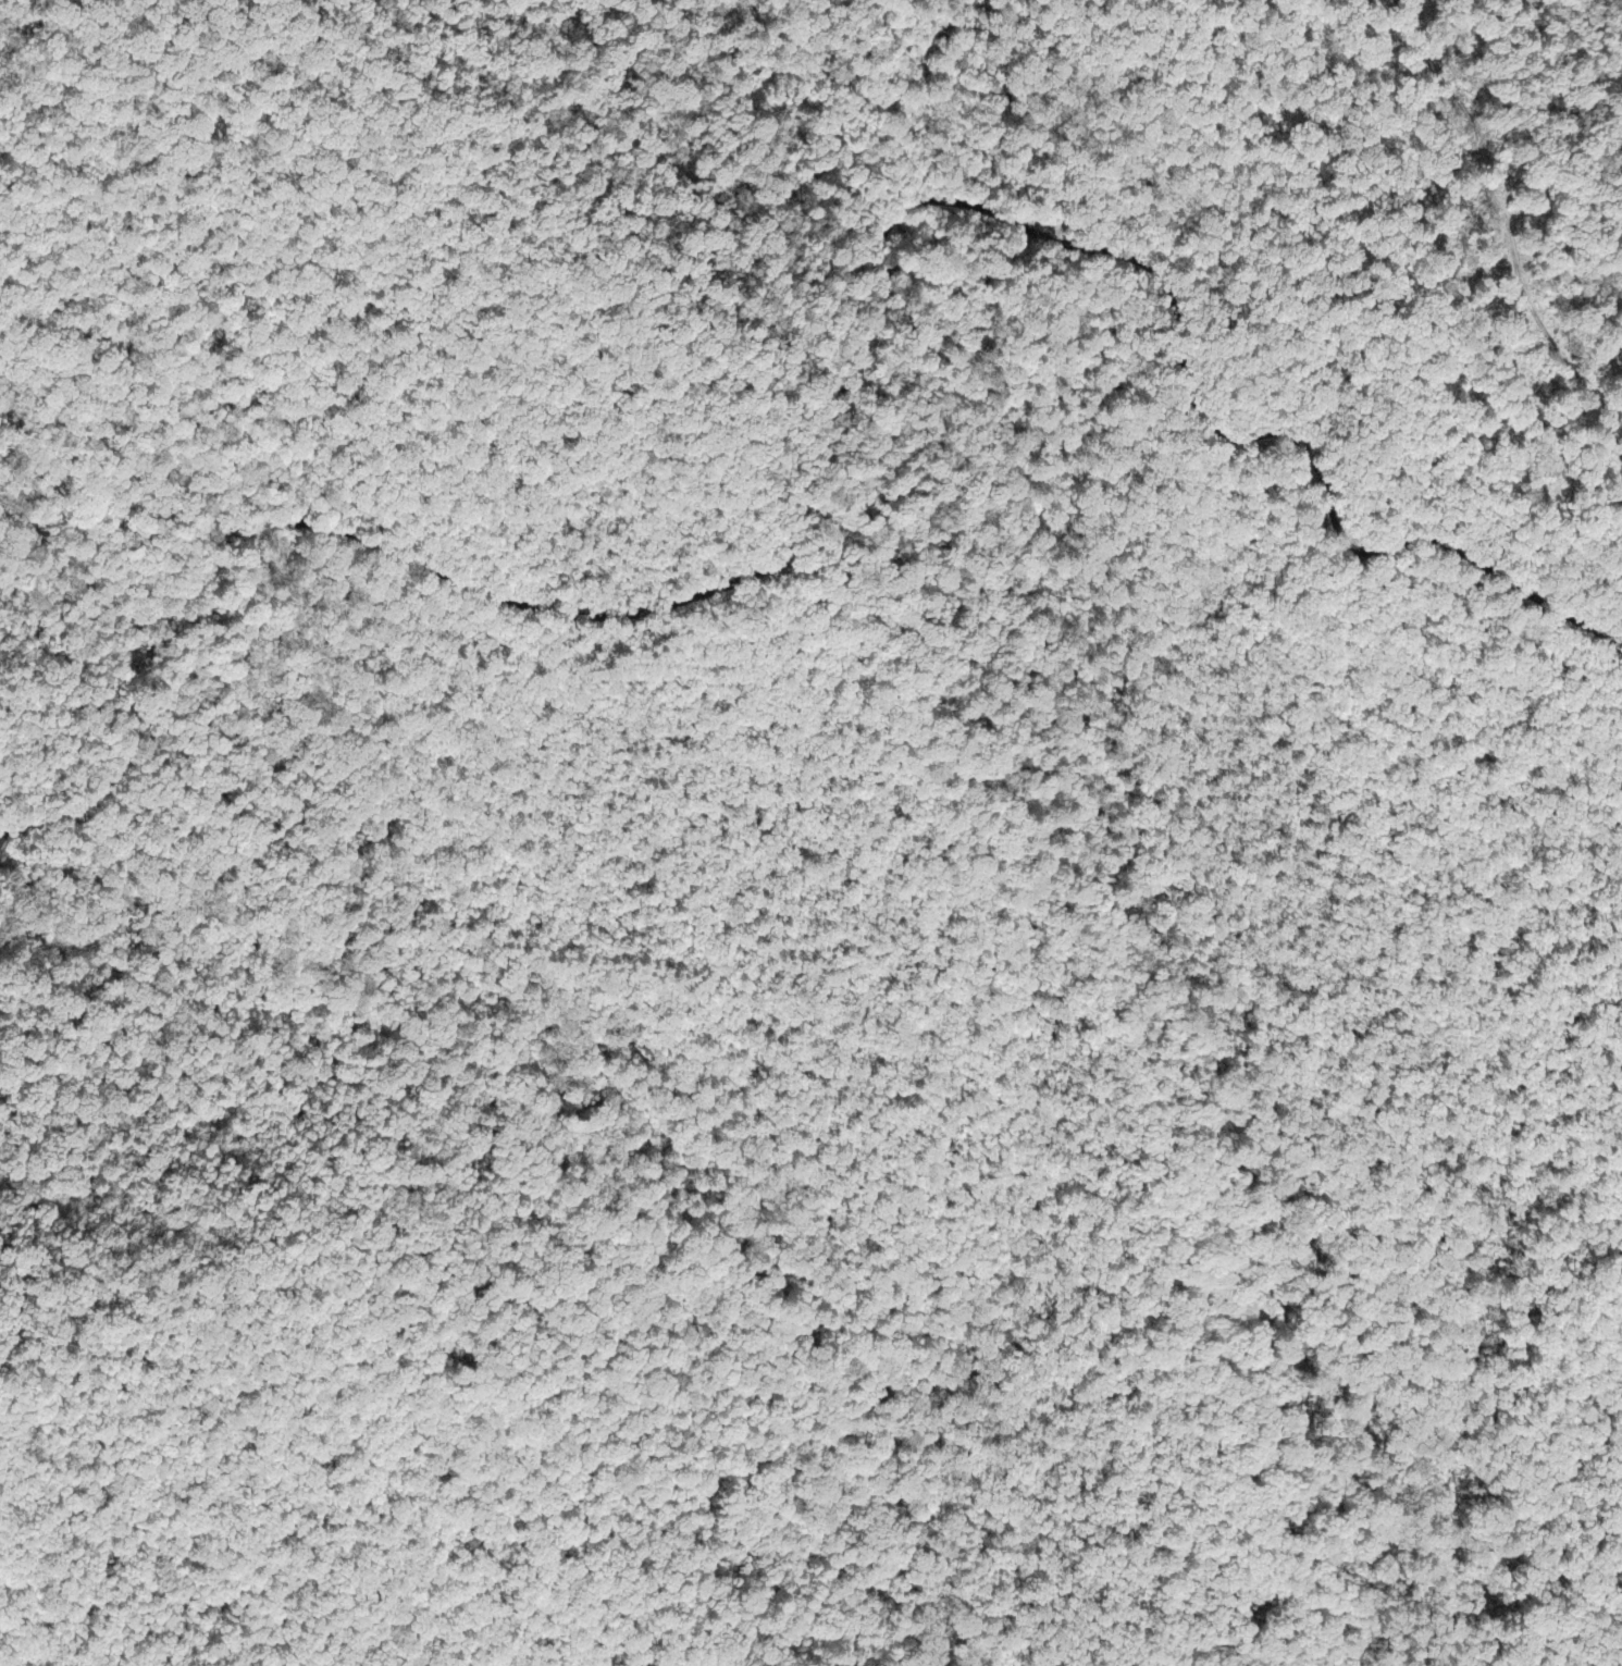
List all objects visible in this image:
road: (1310, 451)
road: (550, 612)
road: (14, 1300)

